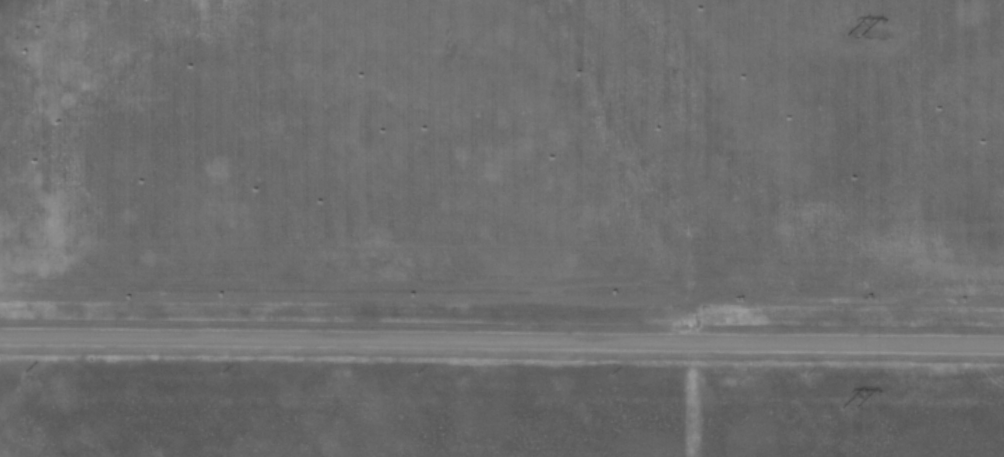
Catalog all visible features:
power tower: (853, 37)
road: (501, 340)
power tower: (847, 408)

